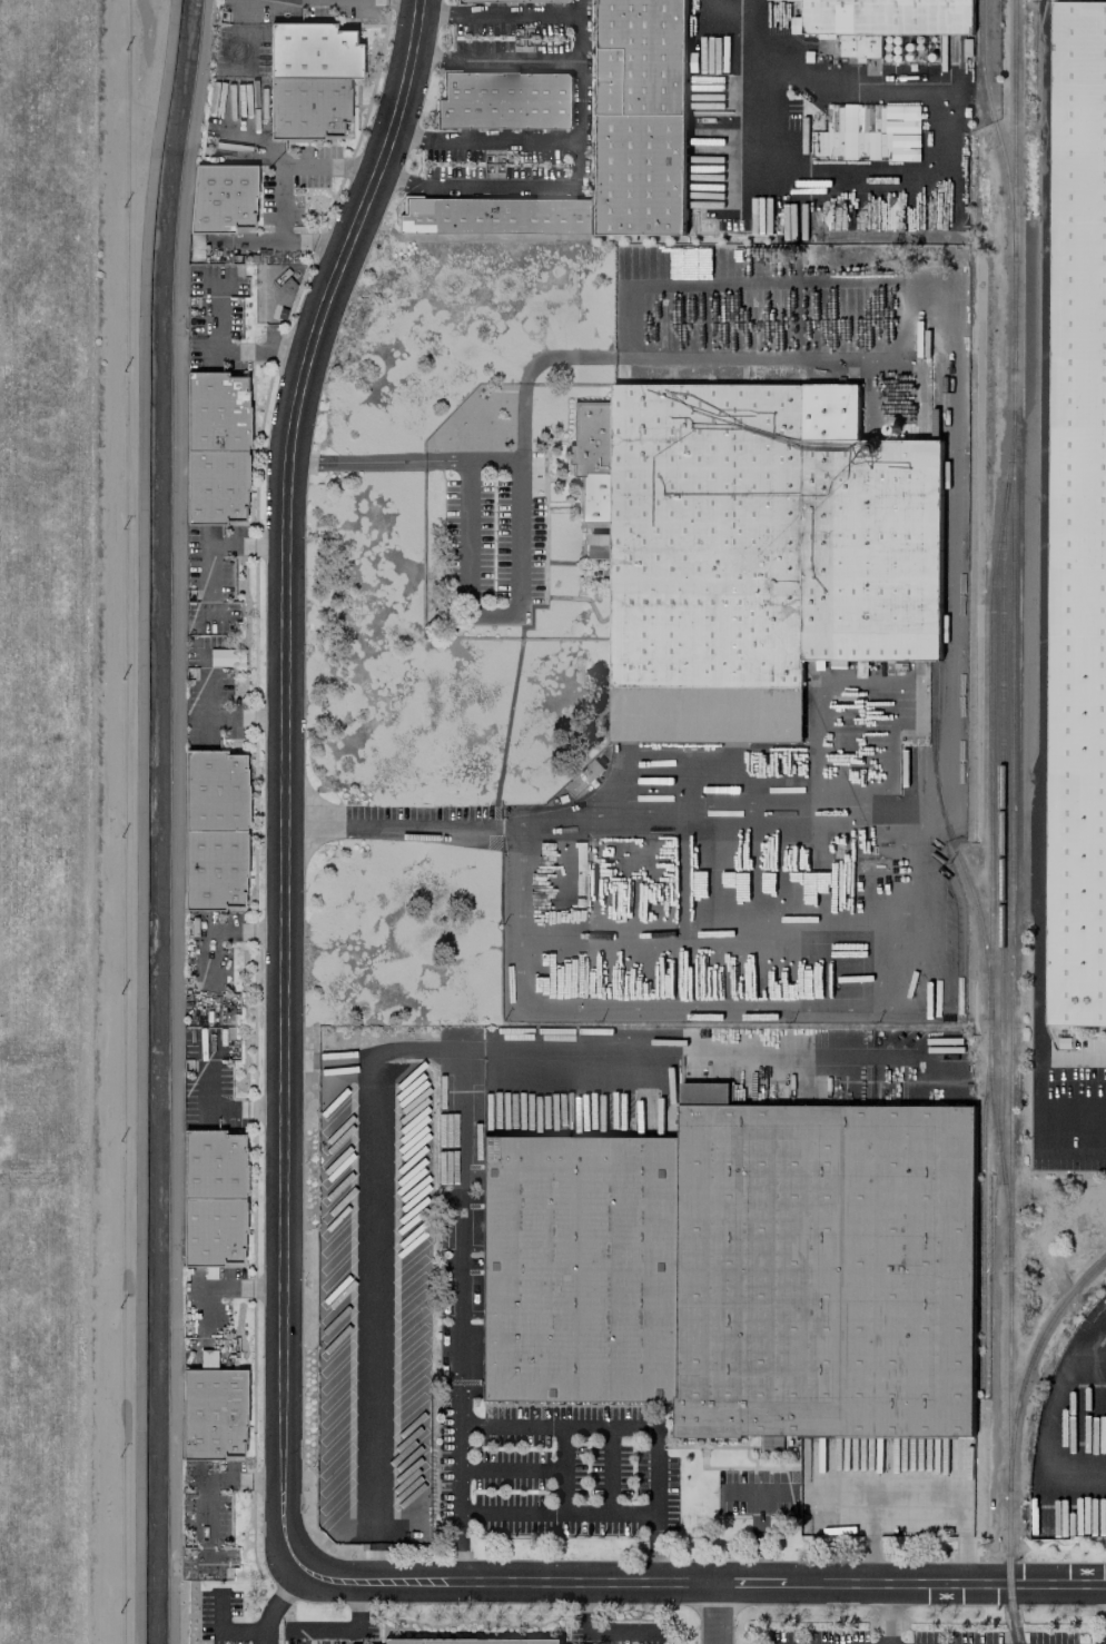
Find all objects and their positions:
building: (520, 0)
road: (744, 3)
road: (498, 13)
building: (887, 16)
road: (744, 17)
road: (240, 42)
road: (495, 59)
building: (309, 78)
building: (504, 100)
building: (642, 116)
railway: (997, 120)
building: (903, 132)
road: (241, 135)
road: (556, 143)
road: (293, 165)
road: (925, 169)
road: (497, 188)
building: (220, 196)
building: (495, 215)
road: (288, 239)
road: (213, 244)
road: (926, 307)
building: (214, 448)
building: (580, 496)
road: (521, 518)
building: (1078, 522)
building: (752, 551)
road: (1040, 587)
building: (221, 656)
railway: (1015, 730)
road: (285, 773)
road: (403, 821)
building: (213, 829)
railway: (954, 840)
railway: (1004, 863)
railway: (994, 910)
road: (893, 962)
railway: (995, 1100)
building: (211, 1197)
road: (458, 1229)
building: (739, 1270)
road: (378, 1315)
building: (210, 1414)
railway: (1015, 1438)
road: (562, 1468)
road: (608, 1469)
road: (510, 1470)
road: (654, 1473)
road: (738, 1491)
road: (757, 1518)
road: (654, 1547)
road: (700, 1584)
road: (282, 1604)
road: (719, 1614)
road: (886, 1614)
road: (352, 1627)
road: (601, 1630)
building: (467, 1641)

